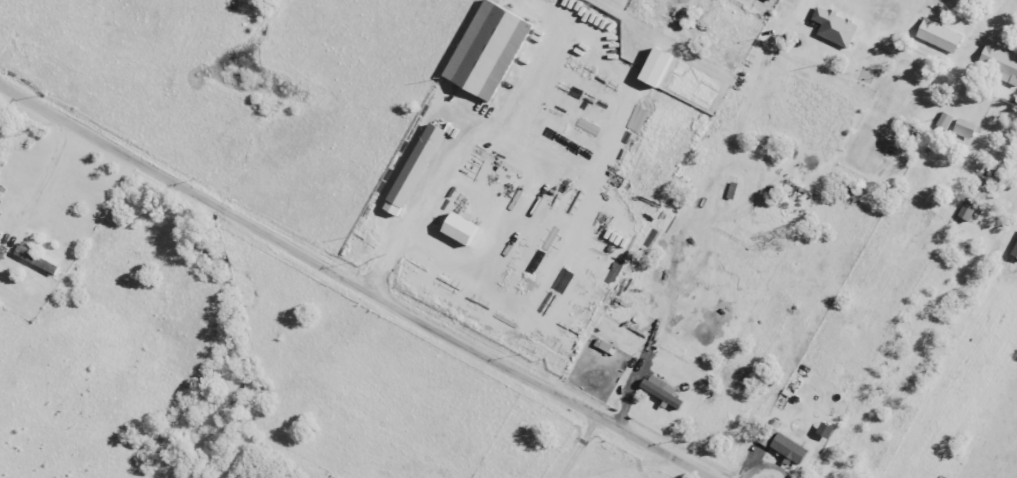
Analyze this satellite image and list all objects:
building: (833, 27)
building: (937, 36)
building: (486, 50)
building: (1000, 62)
building: (654, 67)
building: (942, 121)
building: (963, 129)
building: (414, 166)
building: (730, 191)
building: (849, 191)
building: (966, 209)
building: (458, 229)
building: (1014, 251)
building: (1, 254)
building: (33, 257)
road: (358, 281)
building: (602, 346)
building: (660, 391)
building: (823, 431)
road: (572, 443)
building: (787, 448)

